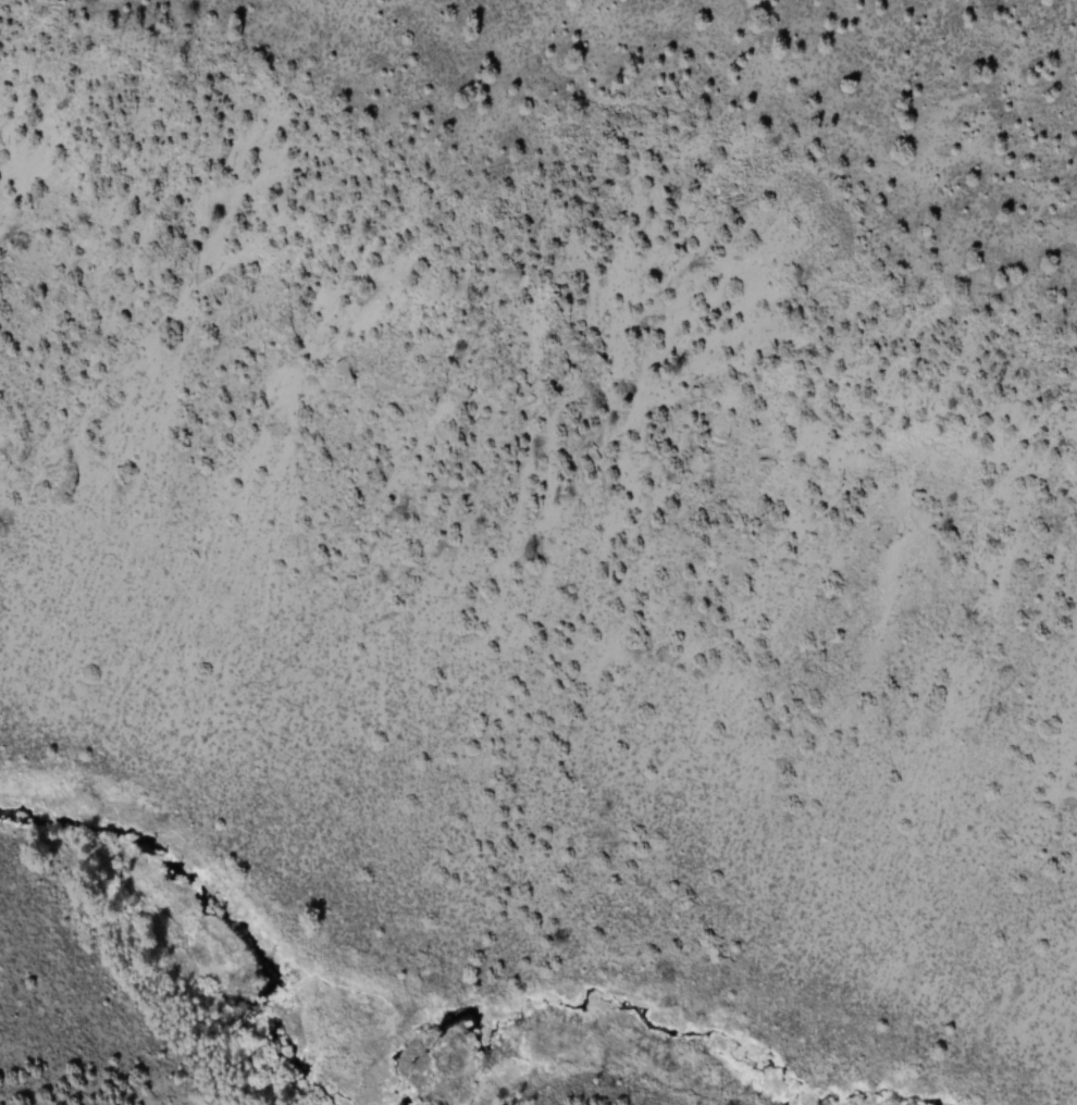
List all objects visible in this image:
road: (710, 5)

